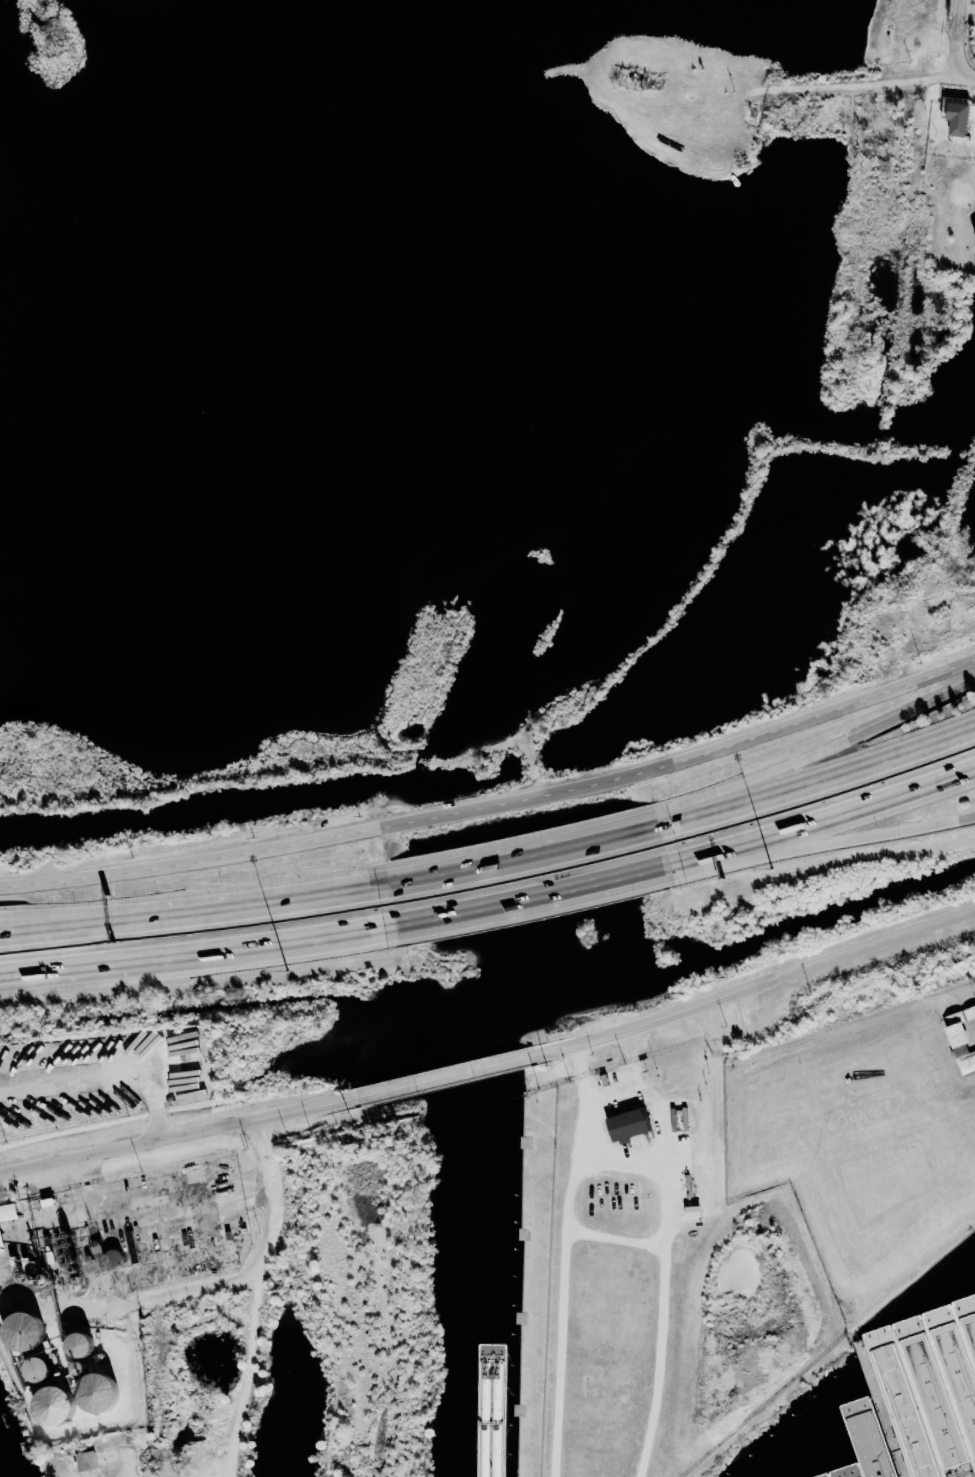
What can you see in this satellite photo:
road: (963, 37)
road: (828, 91)
building: (953, 119)
road: (905, 211)
road: (816, 756)
road: (816, 781)
road: (495, 807)
road: (821, 818)
road: (820, 844)
road: (522, 858)
road: (530, 896)
road: (268, 902)
road: (74, 920)
road: (74, 926)
road: (197, 950)
road: (84, 971)
road: (761, 988)
building: (960, 1051)
road: (673, 1054)
road: (457, 1073)
road: (103, 1078)
building: (624, 1124)
road: (185, 1137)
building: (7, 1211)
building: (689, 1211)
road: (618, 1237)
building: (0, 1248)
road: (669, 1253)
road: (565, 1260)
road: (215, 1303)
road: (337, 1339)
road: (156, 1392)
building: (83, 1460)

